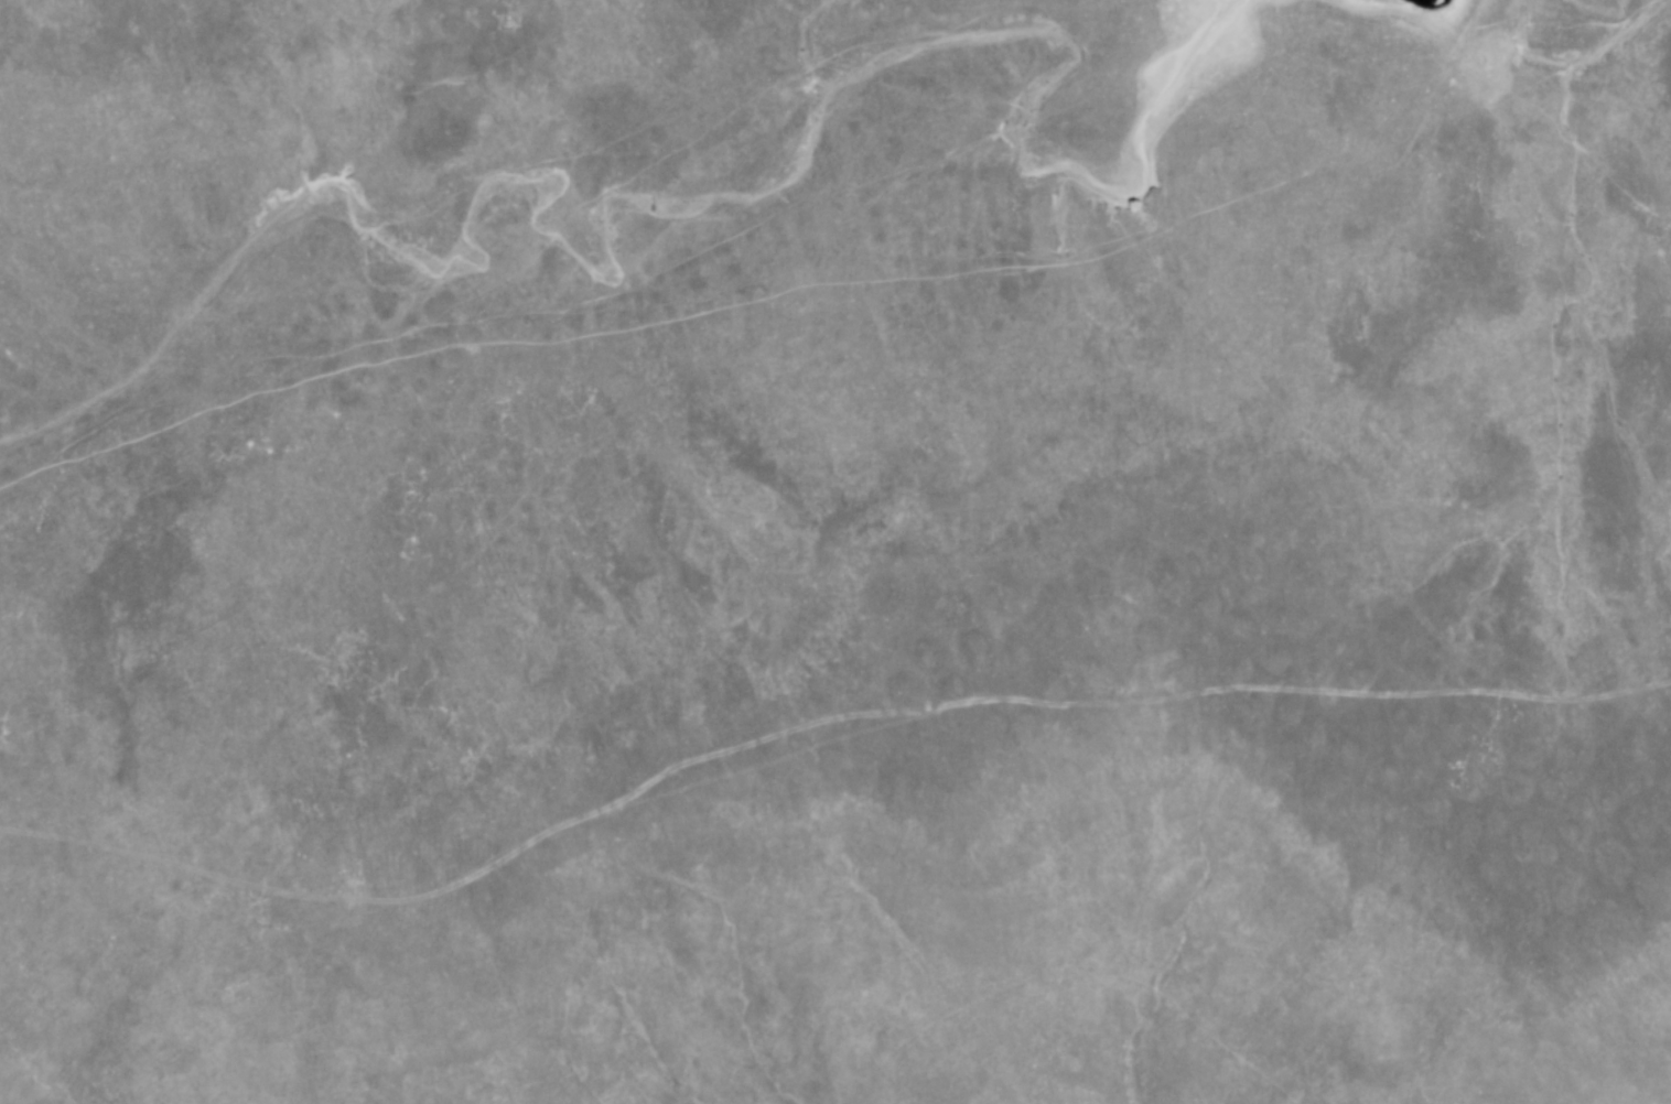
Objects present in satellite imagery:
dam: (1460, 23)

